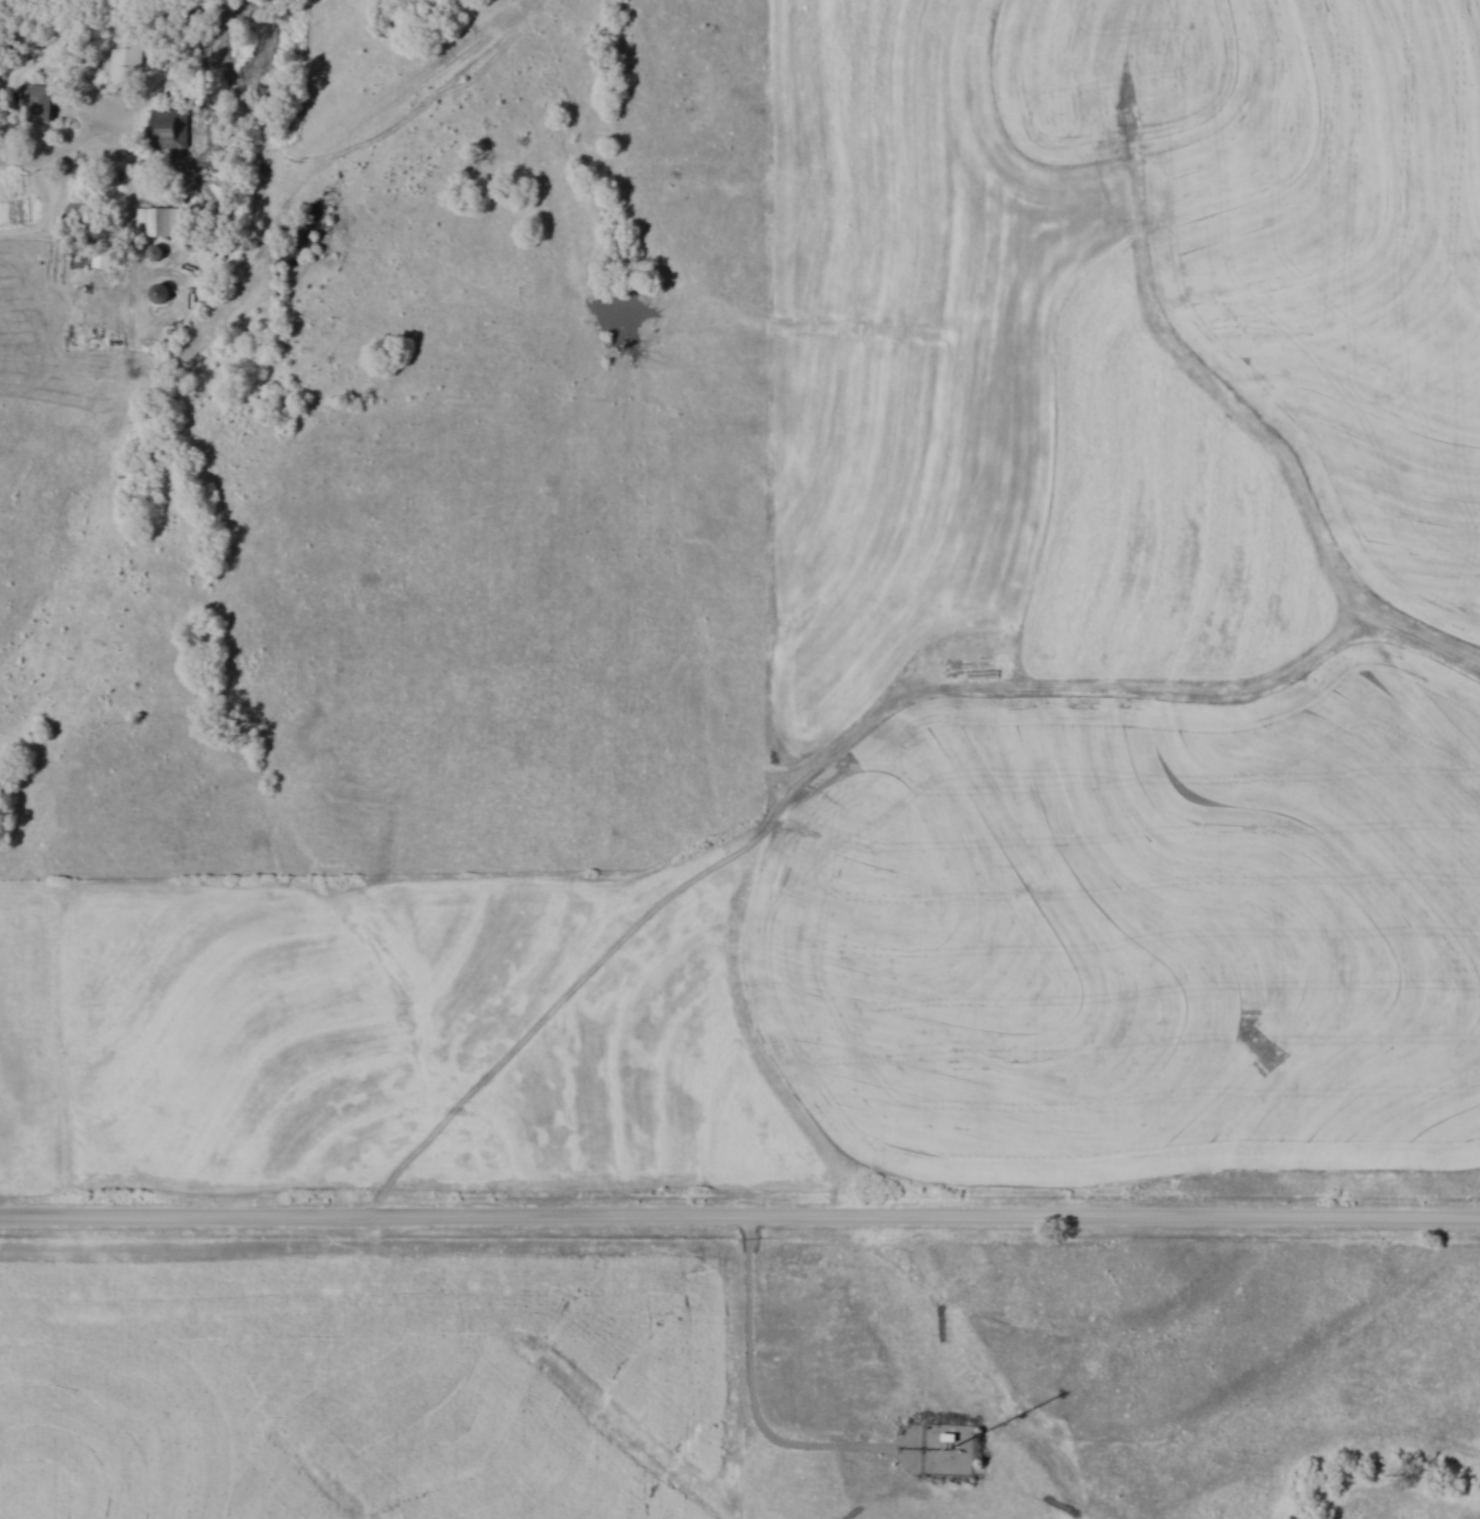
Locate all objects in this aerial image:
building: (125, 57)
building: (37, 102)
building: (169, 128)
road: (57, 154)
building: (159, 221)
building: (155, 253)
building: (102, 257)
building: (160, 294)
road: (740, 1215)

